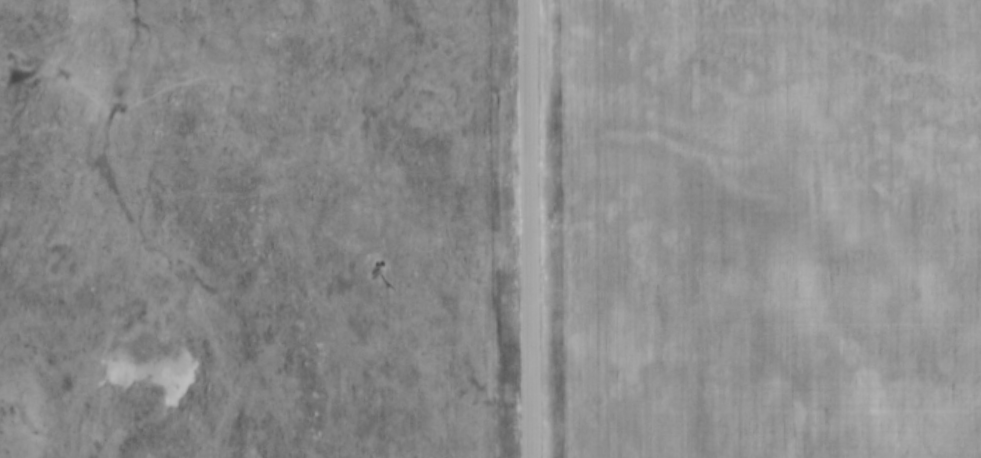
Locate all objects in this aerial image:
road: (525, 229)

